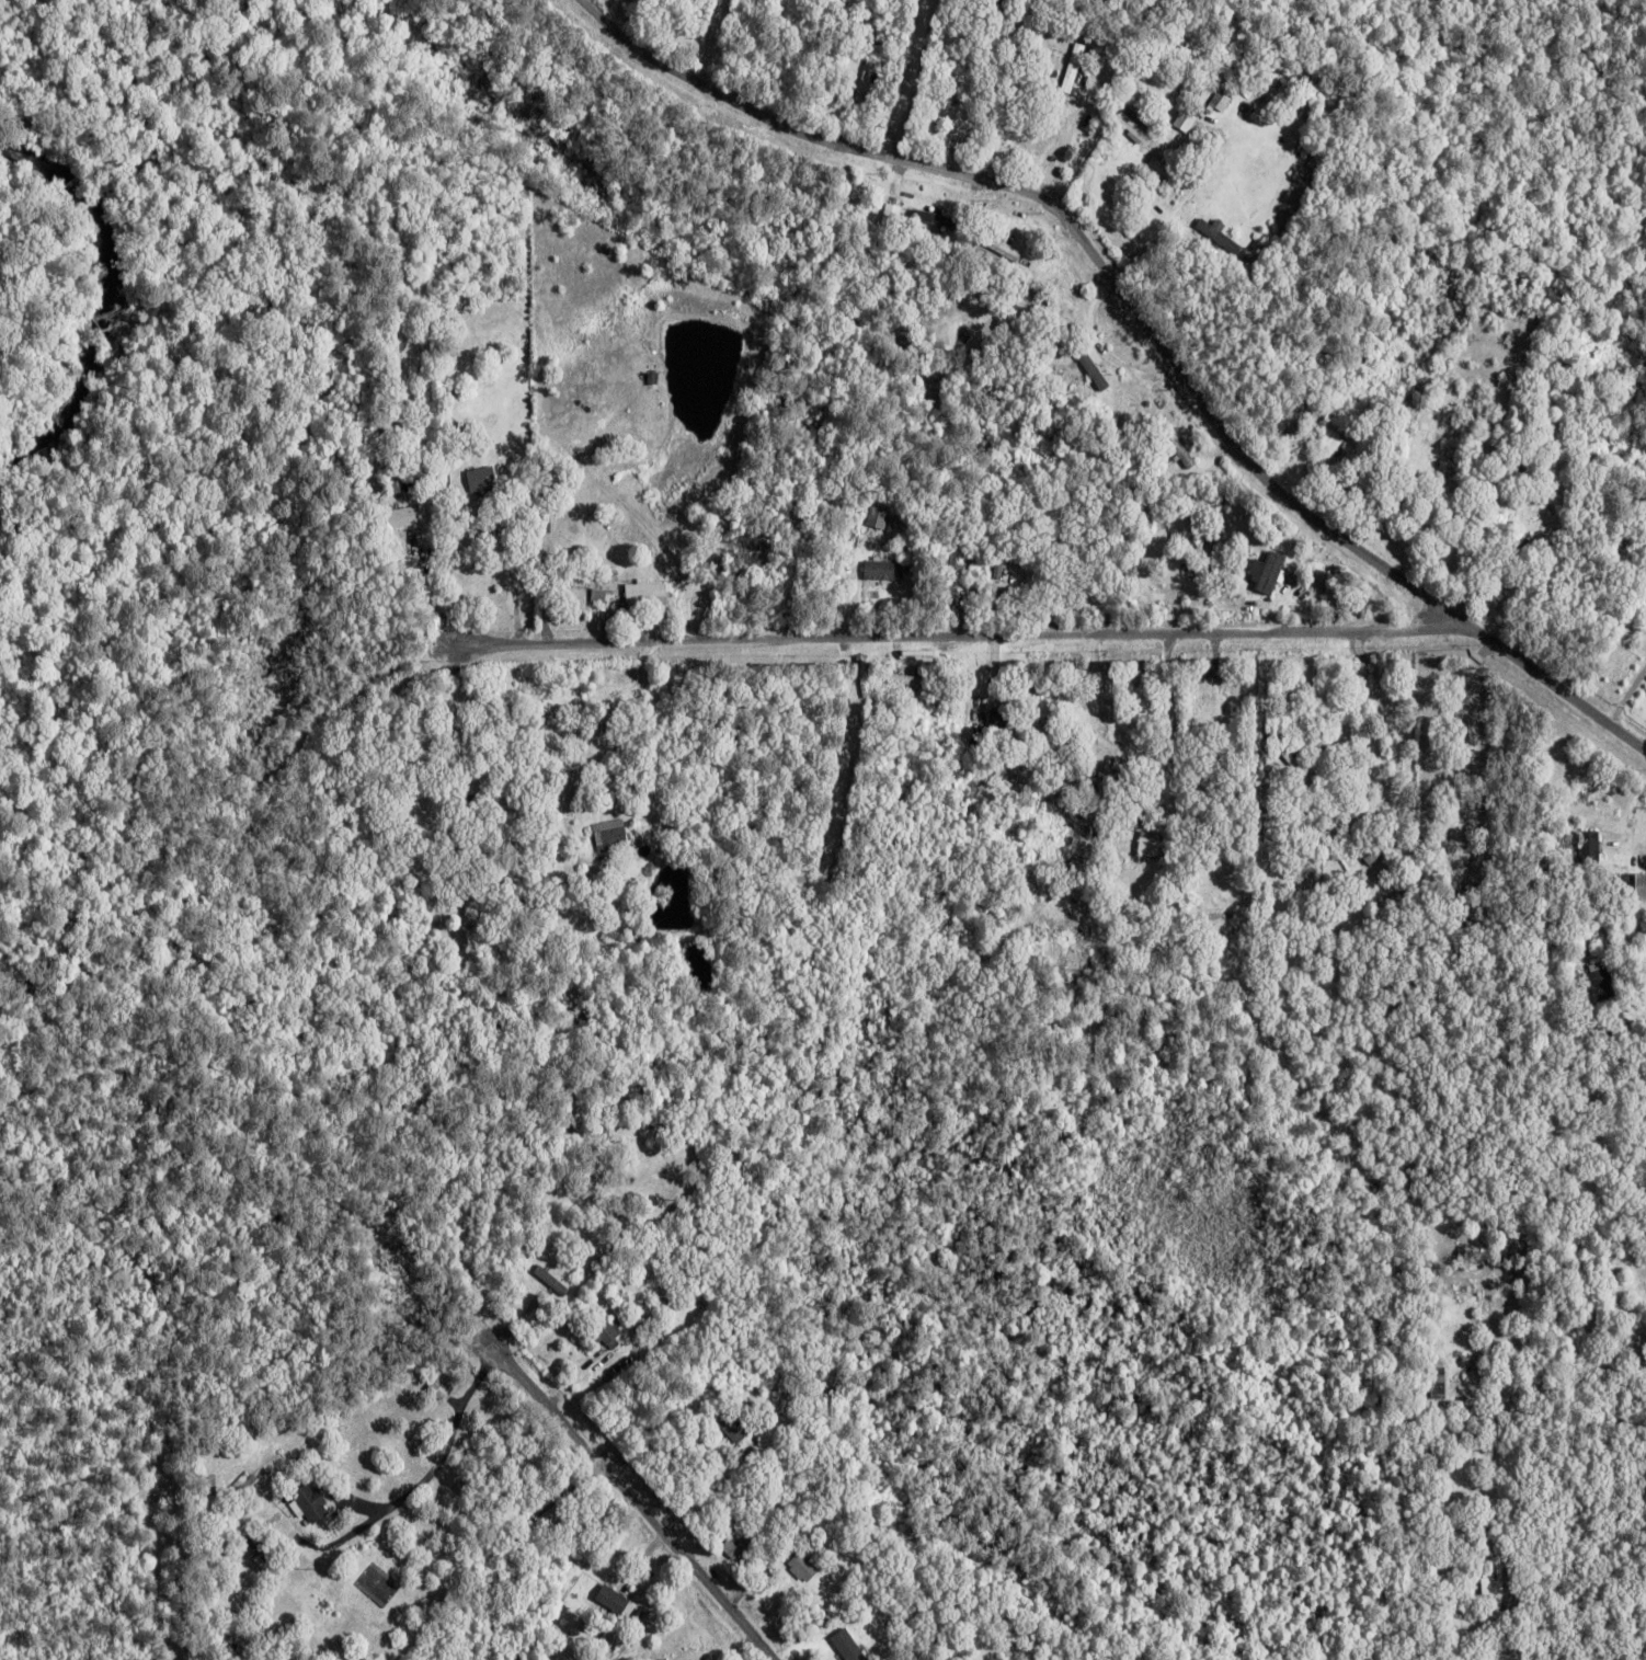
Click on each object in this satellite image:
building: (995, 9)
building: (1197, 60)
building: (1075, 68)
road: (904, 77)
building: (1104, 77)
building: (1265, 79)
building: (867, 81)
building: (1129, 93)
building: (1223, 98)
building: (825, 106)
building: (848, 108)
building: (949, 115)
building: (1090, 124)
building: (1136, 125)
building: (1037, 131)
building: (1011, 145)
building: (1200, 146)
building: (1316, 162)
building: (1170, 173)
building: (917, 203)
building: (900, 213)
building: (940, 221)
building: (967, 229)
building: (1216, 231)
building: (1004, 245)
building: (1040, 263)
river: (103, 301)
road: (1144, 320)
building: (1102, 351)
building: (1087, 380)
building: (1122, 425)
building: (387, 433)
building: (1346, 437)
building: (1178, 446)
building: (1327, 456)
building: (483, 482)
building: (379, 490)
building: (591, 496)
building: (1413, 496)
building: (1513, 507)
building: (878, 518)
building: (393, 519)
building: (433, 526)
building: (1514, 541)
building: (718, 543)
building: (1536, 545)
building: (753, 550)
building: (1005, 571)
building: (1269, 571)
building: (885, 572)
building: (1032, 575)
building: (952, 580)
building: (593, 585)
building: (964, 597)
building: (638, 606)
building: (993, 607)
building: (1008, 607)
road: (951, 633)
building: (907, 682)
building: (1019, 695)
building: (1014, 707)
building: (1201, 709)
building: (1004, 721)
building: (1290, 742)
building: (991, 745)
building: (964, 747)
building: (1055, 747)
building: (1282, 749)
building: (1061, 765)
building: (1131, 767)
building: (1060, 774)
building: (1266, 801)
building: (465, 803)
building: (1044, 812)
building: (1142, 815)
building: (445, 825)
building: (1273, 825)
building: (611, 836)
building: (1155, 847)
building: (1383, 848)
building: (1590, 849)
building: (1121, 858)
building: (843, 869)
building: (795, 884)
building: (1641, 885)
building: (1084, 886)
building: (1220, 906)
building: (518, 907)
building: (1032, 917)
building: (1085, 920)
building: (1250, 920)
building: (1072, 960)
building: (430, 962)
building: (1601, 984)
building: (1620, 1029)
building: (608, 1220)
building: (556, 1281)
building: (1616, 1308)
building: (608, 1333)
building: (611, 1372)
building: (1439, 1384)
building: (443, 1386)
building: (734, 1428)
building: (1438, 1447)
building: (252, 1487)
road: (632, 1495)
building: (312, 1506)
building: (535, 1515)
building: (263, 1541)
building: (741, 1544)
building: (803, 1568)
building: (1494, 1580)
building: (479, 1593)
building: (613, 1603)
building: (493, 1604)
building: (856, 1644)
building: (668, 1659)

